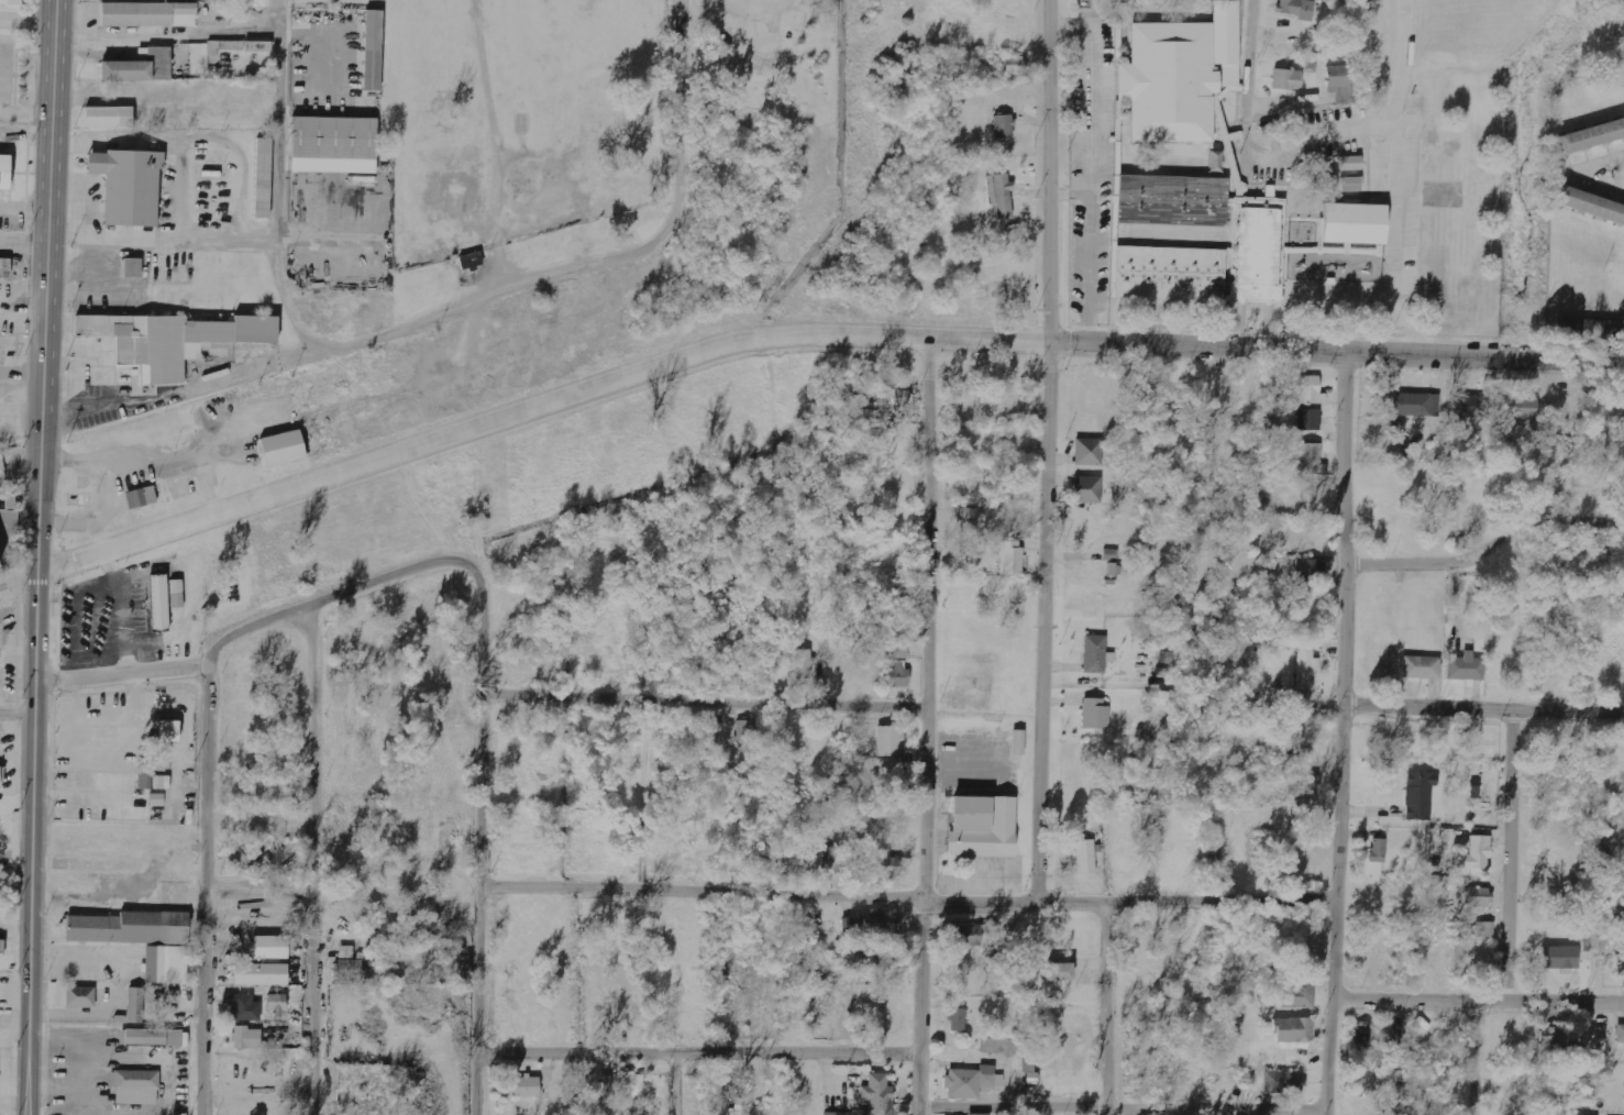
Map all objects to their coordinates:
building: (11, 2)
road: (283, 2)
building: (1297, 9)
building: (144, 15)
road: (31, 20)
road: (169, 35)
building: (257, 47)
building: (371, 51)
road: (1246, 58)
building: (1014, 66)
building: (139, 67)
building: (1230, 79)
building: (1286, 80)
building: (1340, 82)
building: (1167, 84)
building: (108, 118)
building: (1004, 126)
building: (1591, 137)
building: (332, 139)
building: (1351, 164)
road: (1038, 169)
building: (4, 173)
building: (261, 179)
road: (280, 180)
building: (1351, 185)
building: (128, 187)
building: (1001, 195)
building: (1591, 207)
building: (1244, 247)
building: (472, 263)
building: (4, 268)
building: (131, 268)
road: (469, 296)
building: (1589, 330)
building: (170, 341)
road: (1336, 353)
building: (1307, 389)
building: (899, 398)
road: (535, 402)
building: (1413, 405)
building: (1472, 407)
building: (1518, 408)
building: (1308, 420)
building: (283, 449)
road: (1047, 450)
building: (1089, 452)
building: (1310, 459)
road: (210, 490)
building: (1089, 490)
building: (137, 499)
building: (969, 522)
building: (8, 536)
road: (1489, 541)
building: (1111, 555)
road: (41, 556)
building: (1012, 559)
building: (1311, 570)
building: (177, 594)
building: (155, 603)
road: (269, 619)
building: (1095, 654)
building: (804, 664)
building: (1422, 669)
building: (1466, 669)
building: (1306, 670)
building: (898, 674)
road: (707, 699)
road: (1484, 704)
building: (1096, 715)
road: (16, 717)
road: (928, 725)
building: (745, 731)
road: (1344, 735)
building: (890, 742)
building: (1300, 742)
building: (1018, 743)
road: (645, 793)
building: (1419, 795)
building: (982, 828)
building: (1378, 850)
road: (1513, 852)
building: (1478, 853)
road: (479, 855)
building: (246, 857)
building: (1085, 857)
road: (310, 860)
building: (833, 860)
building: (884, 865)
road: (257, 887)
road: (205, 891)
road: (909, 897)
building: (1479, 897)
building: (880, 923)
building: (125, 929)
building: (1484, 929)
building: (968, 935)
building: (0, 946)
building: (270, 947)
building: (1560, 957)
building: (1620, 964)
building: (163, 967)
building: (349, 970)
building: (1060, 971)
building: (261, 974)
building: (1297, 995)
building: (78, 998)
road: (1478, 1001)
building: (277, 1005)
building: (133, 1007)
building: (244, 1007)
road: (1106, 1007)
building: (958, 1019)
building: (1072, 1026)
building: (1294, 1030)
building: (1620, 1033)
building: (1362, 1036)
building: (156, 1037)
building: (247, 1038)
building: (1551, 1040)
building: (1393, 1044)
road: (696, 1052)
road: (1479, 1057)
building: (1363, 1080)
building: (598, 1081)
building: (969, 1081)
building: (1284, 1082)
road: (677, 1083)
building: (631, 1085)
building: (528, 1086)
building: (132, 1090)
road: (1123, 1110)

